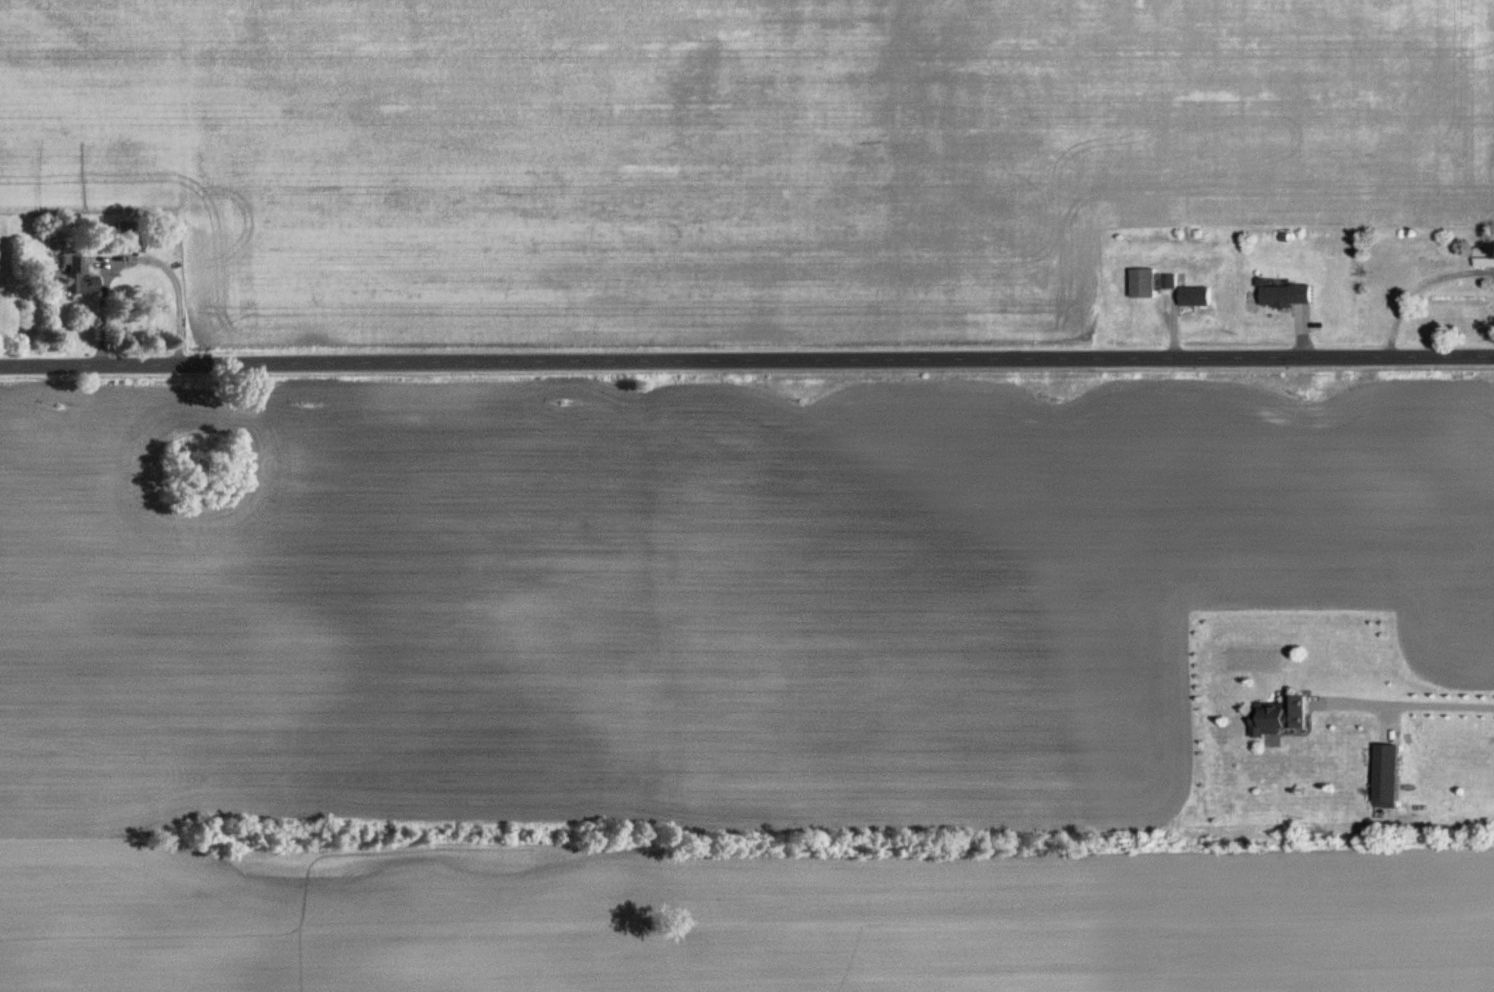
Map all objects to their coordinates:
building: (129, 236)
building: (1486, 256)
road: (135, 259)
building: (79, 277)
building: (1171, 282)
building: (1146, 284)
road: (1420, 287)
building: (1288, 296)
building: (1198, 297)
road: (746, 360)
road: (1408, 698)
building: (1282, 717)
building: (1391, 777)

